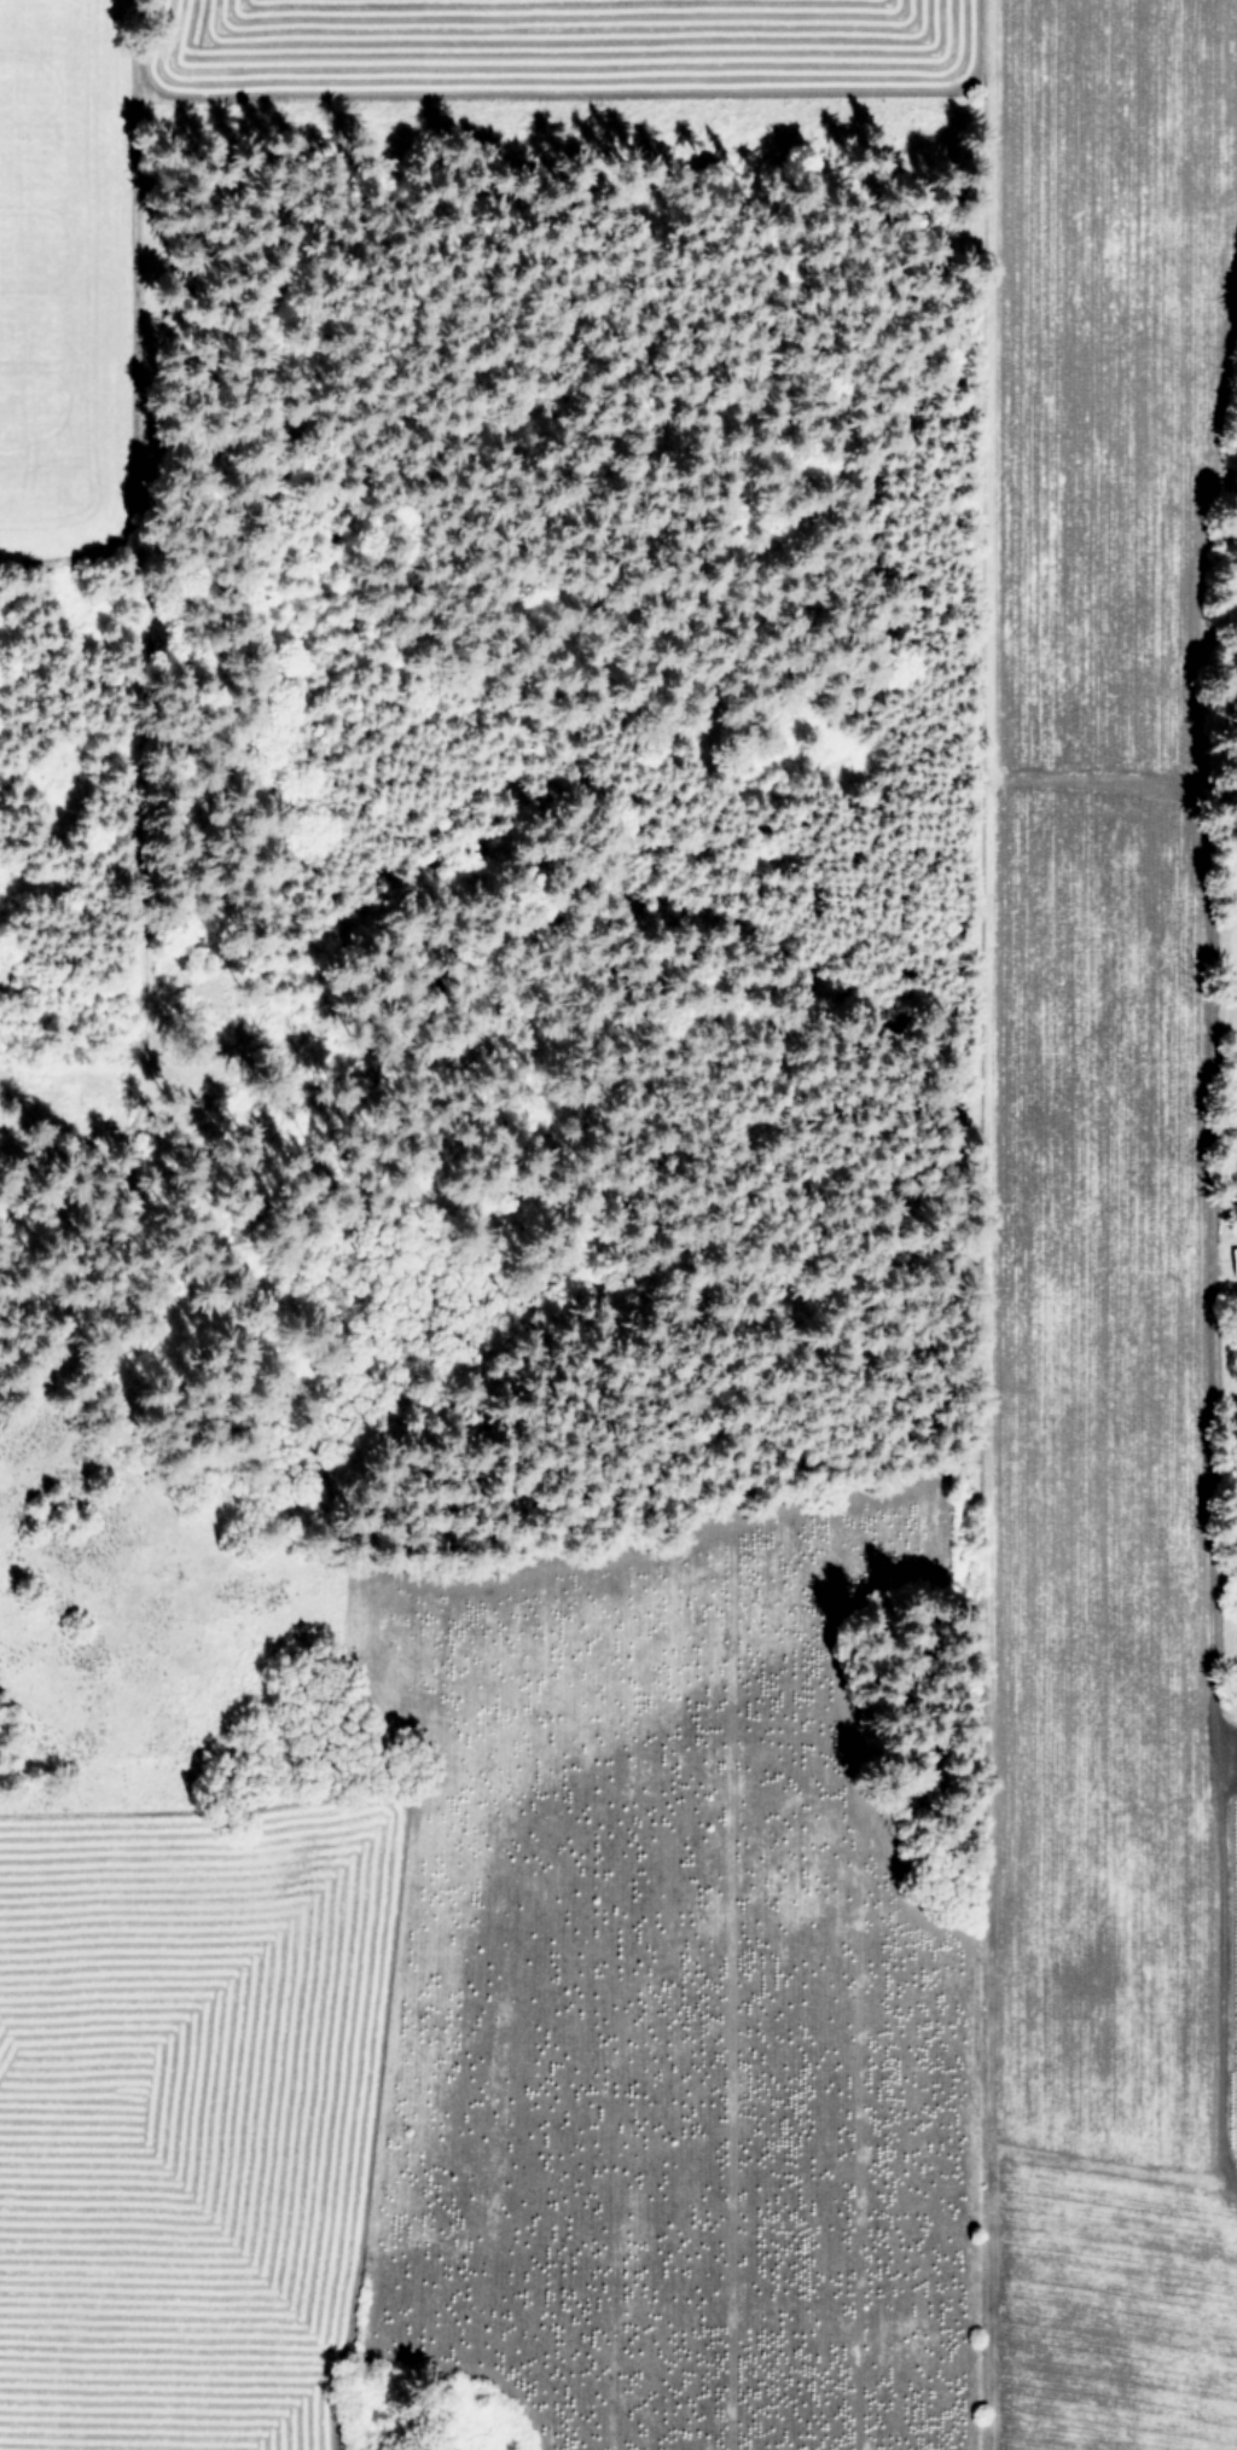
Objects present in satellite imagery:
road: (129, 338)
building: (1232, 1259)
road: (59, 1422)
road: (1216, 1728)

